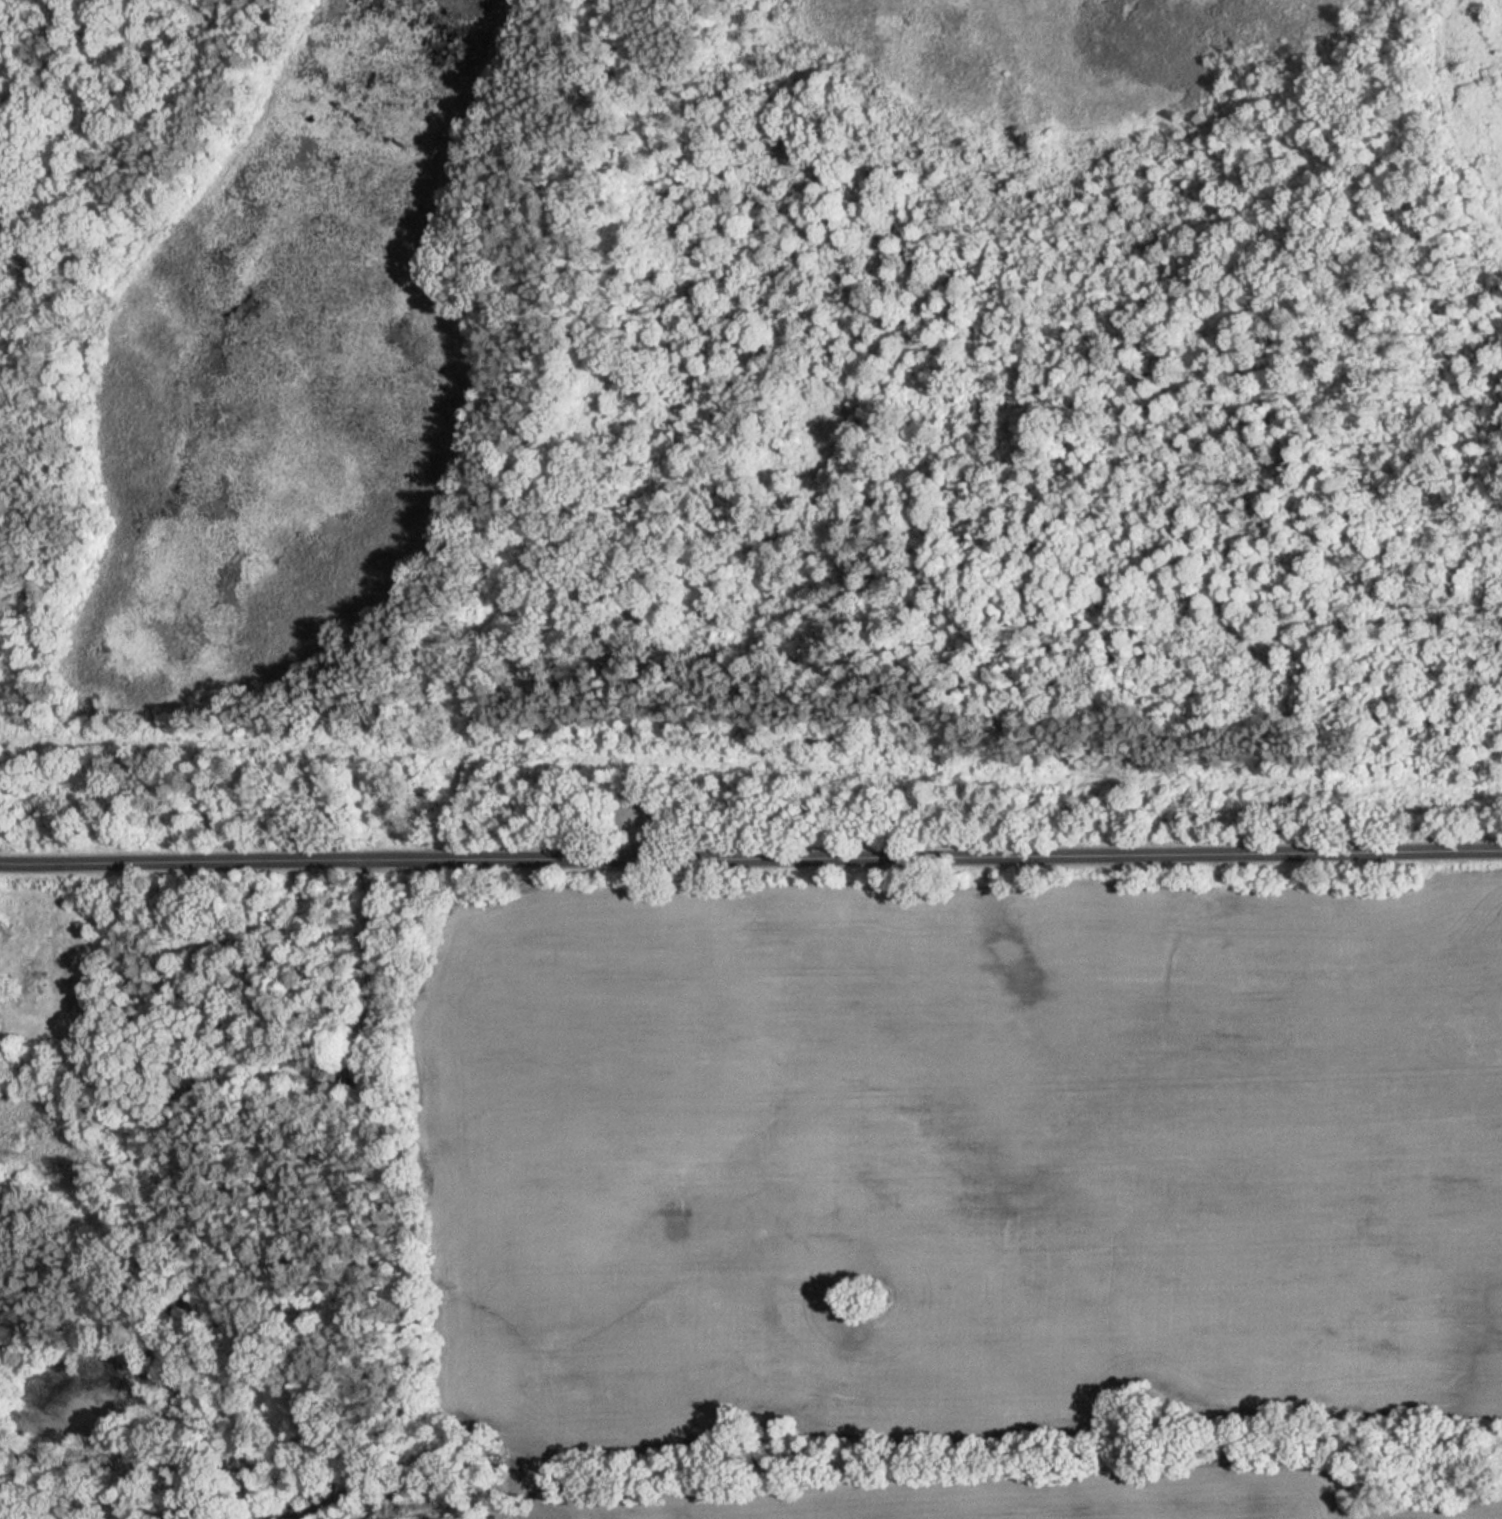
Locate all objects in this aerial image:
park: (749, 421)
parking lot: (643, 813)
road: (643, 833)
road: (751, 858)
road: (368, 947)
building: (359, 1067)

